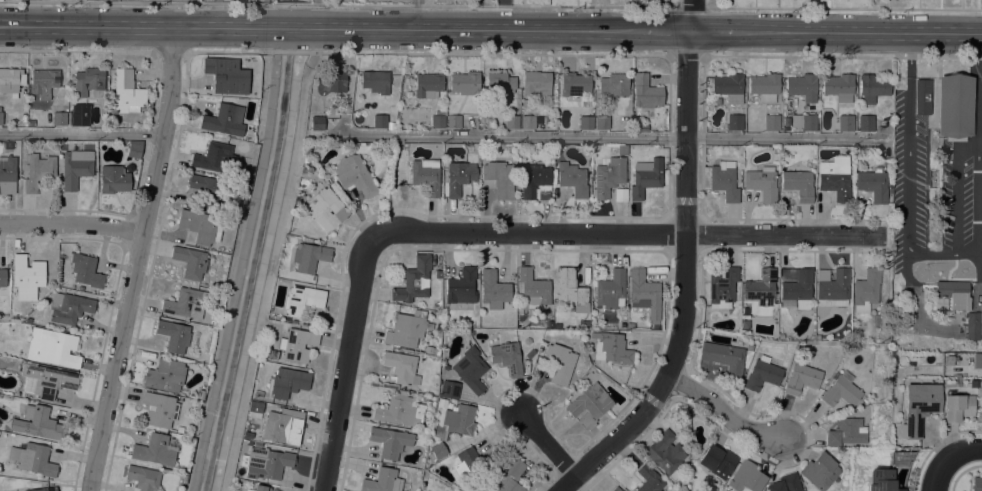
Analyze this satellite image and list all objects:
road: (137, 2)
road: (692, 2)
road: (291, 3)
road: (489, 4)
road: (690, 6)
road: (846, 7)
road: (313, 13)
road: (417, 14)
road: (690, 18)
road: (136, 25)
road: (292, 27)
road: (477, 28)
road: (666, 30)
road: (712, 31)
road: (859, 31)
road: (312, 47)
road: (78, 50)
road: (173, 50)
road: (230, 50)
road: (287, 50)
road: (486, 53)
road: (685, 56)
road: (841, 57)
building: (226, 75)
building: (11, 81)
building: (88, 81)
building: (330, 81)
building: (375, 81)
building: (44, 82)
building: (465, 83)
building: (499, 83)
building: (536, 84)
building: (574, 84)
building: (428, 85)
building: (613, 86)
building: (765, 86)
building: (802, 86)
building: (839, 86)
building: (728, 87)
building: (873, 87)
building: (126, 92)
building: (646, 92)
building: (921, 97)
building: (953, 107)
building: (0, 117)
building: (59, 118)
building: (75, 118)
building: (438, 119)
building: (223, 120)
building: (786, 120)
building: (380, 121)
building: (454, 121)
building: (512, 121)
building: (804, 121)
building: (528, 122)
building: (586, 122)
building: (602, 122)
building: (734, 122)
building: (771, 122)
building: (846, 122)
building: (316, 123)
building: (866, 123)
building: (390, 125)
road: (81, 132)
road: (614, 137)
building: (8, 145)
building: (364, 147)
building: (134, 149)
building: (622, 149)
building: (213, 157)
building: (76, 167)
building: (39, 171)
building: (401, 174)
building: (7, 175)
building: (354, 175)
building: (426, 175)
building: (459, 176)
building: (608, 176)
building: (835, 177)
building: (500, 178)
building: (572, 178)
building: (646, 178)
building: (114, 179)
building: (724, 180)
building: (535, 181)
building: (762, 183)
building: (798, 184)
building: (873, 184)
building: (207, 189)
building: (325, 209)
road: (71, 222)
building: (200, 226)
road: (528, 231)
road: (784, 233)
road: (943, 252)
building: (309, 257)
road: (136, 259)
building: (190, 262)
building: (86, 271)
building: (438, 274)
building: (27, 275)
building: (3, 277)
road: (268, 278)
building: (414, 280)
road: (684, 283)
building: (461, 286)
building: (834, 286)
building: (761, 287)
building: (796, 287)
building: (493, 288)
building: (532, 288)
building: (723, 288)
building: (867, 289)
building: (570, 290)
building: (610, 290)
building: (644, 293)
building: (954, 293)
building: (302, 299)
building: (187, 303)
building: (69, 307)
building: (583, 324)
building: (555, 325)
building: (630, 325)
building: (972, 325)
building: (406, 330)
building: (174, 335)
building: (780, 335)
building: (817, 337)
building: (437, 341)
building: (296, 344)
building: (52, 347)
building: (612, 348)
building: (530, 353)
building: (272, 354)
building: (507, 357)
building: (725, 357)
building: (559, 363)
road: (344, 364)
building: (402, 367)
building: (470, 369)
building: (762, 373)
building: (165, 375)
building: (802, 378)
building: (49, 380)
building: (287, 382)
building: (449, 389)
building: (842, 390)
building: (401, 392)
building: (258, 393)
building: (419, 395)
building: (442, 402)
building: (589, 405)
building: (919, 406)
building: (957, 406)
building: (159, 409)
building: (254, 409)
road: (722, 410)
building: (399, 411)
building: (459, 419)
building: (40, 422)
building: (283, 427)
building: (846, 432)
building: (247, 435)
building: (390, 441)
road: (546, 443)
building: (257, 444)
building: (155, 450)
building: (437, 451)
building: (666, 453)
road: (965, 453)
building: (33, 458)
building: (717, 461)
building: (266, 463)
building: (471, 464)
building: (821, 471)
road: (941, 474)
building: (509, 475)
building: (143, 477)
building: (746, 477)
building: (649, 479)
building: (881, 480)
building: (382, 481)
building: (786, 483)
building: (976, 484)
building: (448, 487)
building: (259, 488)
building: (42, 489)
building: (616, 489)

